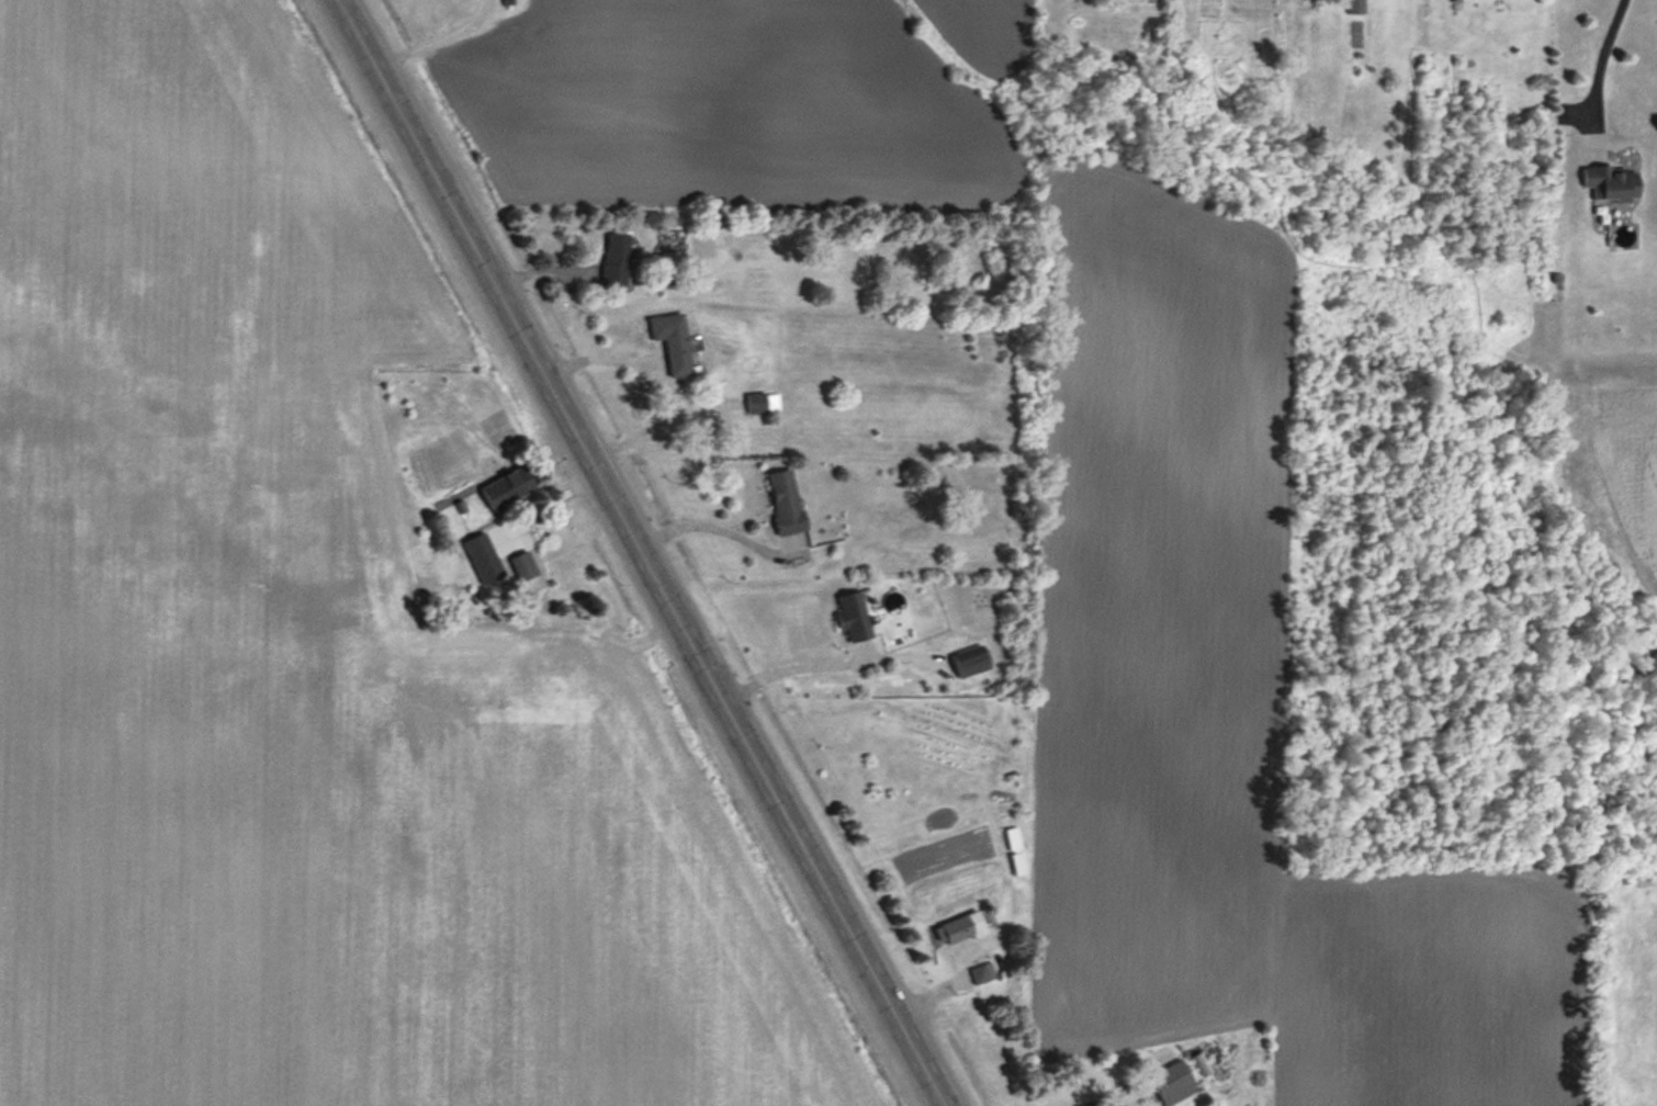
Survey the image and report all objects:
building: (1353, 7)
road: (1597, 75)
building: (1610, 184)
building: (1619, 236)
building: (616, 261)
building: (673, 343)
road: (656, 375)
building: (763, 403)
building: (508, 488)
building: (785, 501)
road: (719, 523)
road: (640, 553)
building: (483, 558)
building: (523, 567)
building: (854, 617)
road: (818, 661)
building: (970, 665)
building: (1012, 839)
building: (960, 930)
building: (982, 974)
building: (954, 1013)
building: (1172, 1084)

